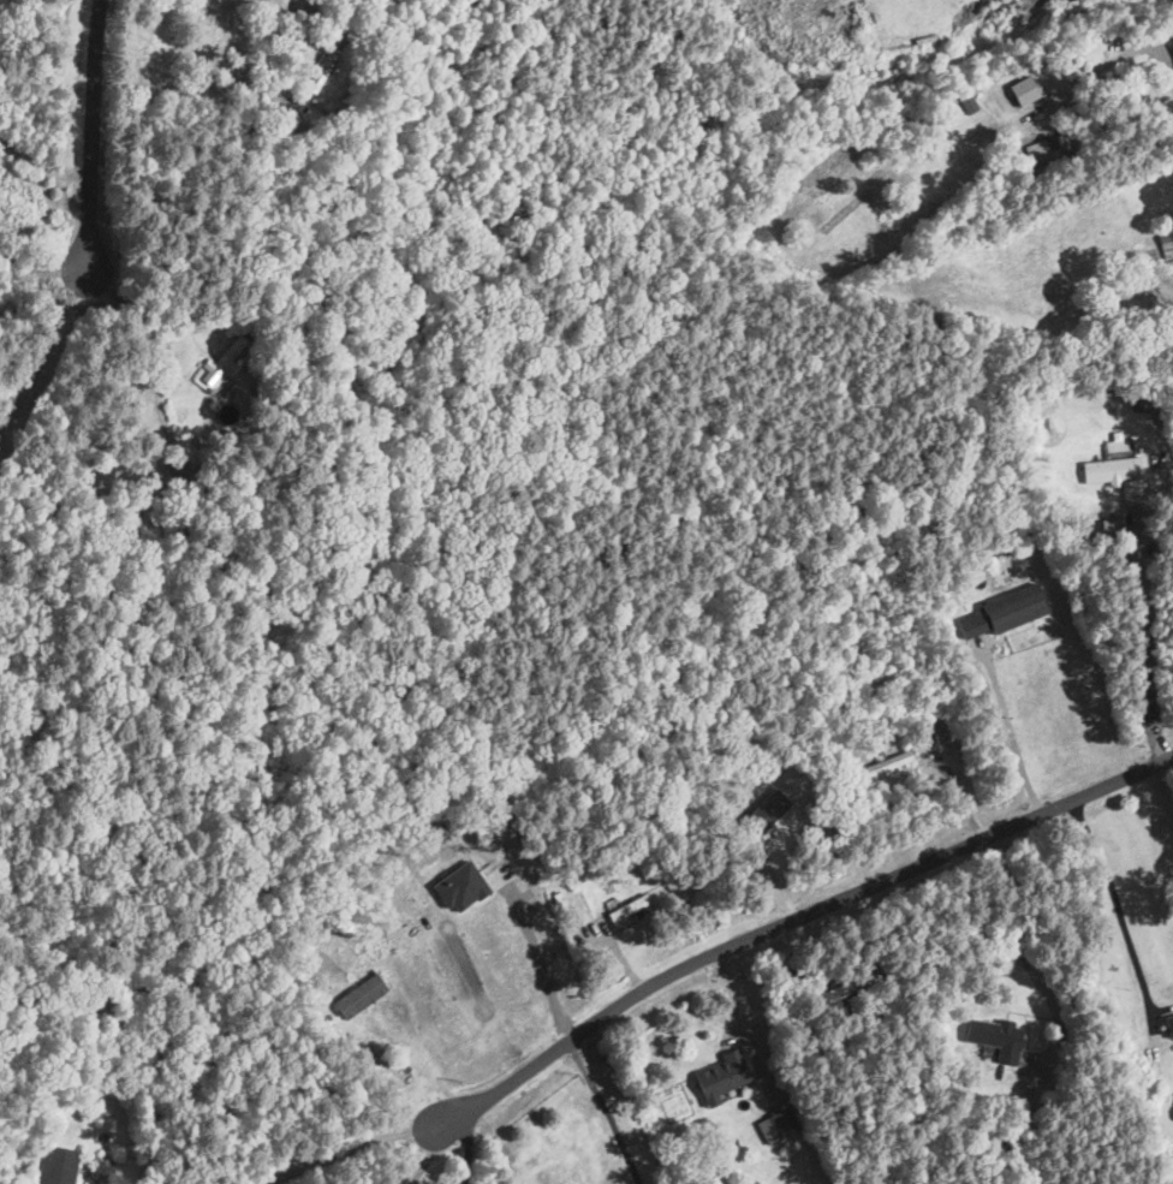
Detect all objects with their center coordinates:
road: (1145, 40)
building: (1171, 46)
building: (323, 69)
road: (187, 84)
building: (967, 117)
road: (94, 133)
building: (1046, 148)
road: (43, 165)
building: (1166, 242)
road: (44, 263)
road: (192, 325)
road: (160, 334)
road: (43, 346)
building: (225, 361)
building: (1118, 445)
building: (1109, 469)
building: (1001, 612)
road: (1138, 650)
road: (1011, 732)
building: (887, 763)
building: (626, 908)
road: (1118, 908)
road: (791, 920)
road: (1019, 941)
road: (535, 957)
building: (995, 1037)
building: (1172, 1049)
building: (722, 1076)
road: (605, 1109)
building: (778, 1125)
road: (470, 1146)
road: (347, 1148)
road: (427, 1159)
building: (59, 1165)

